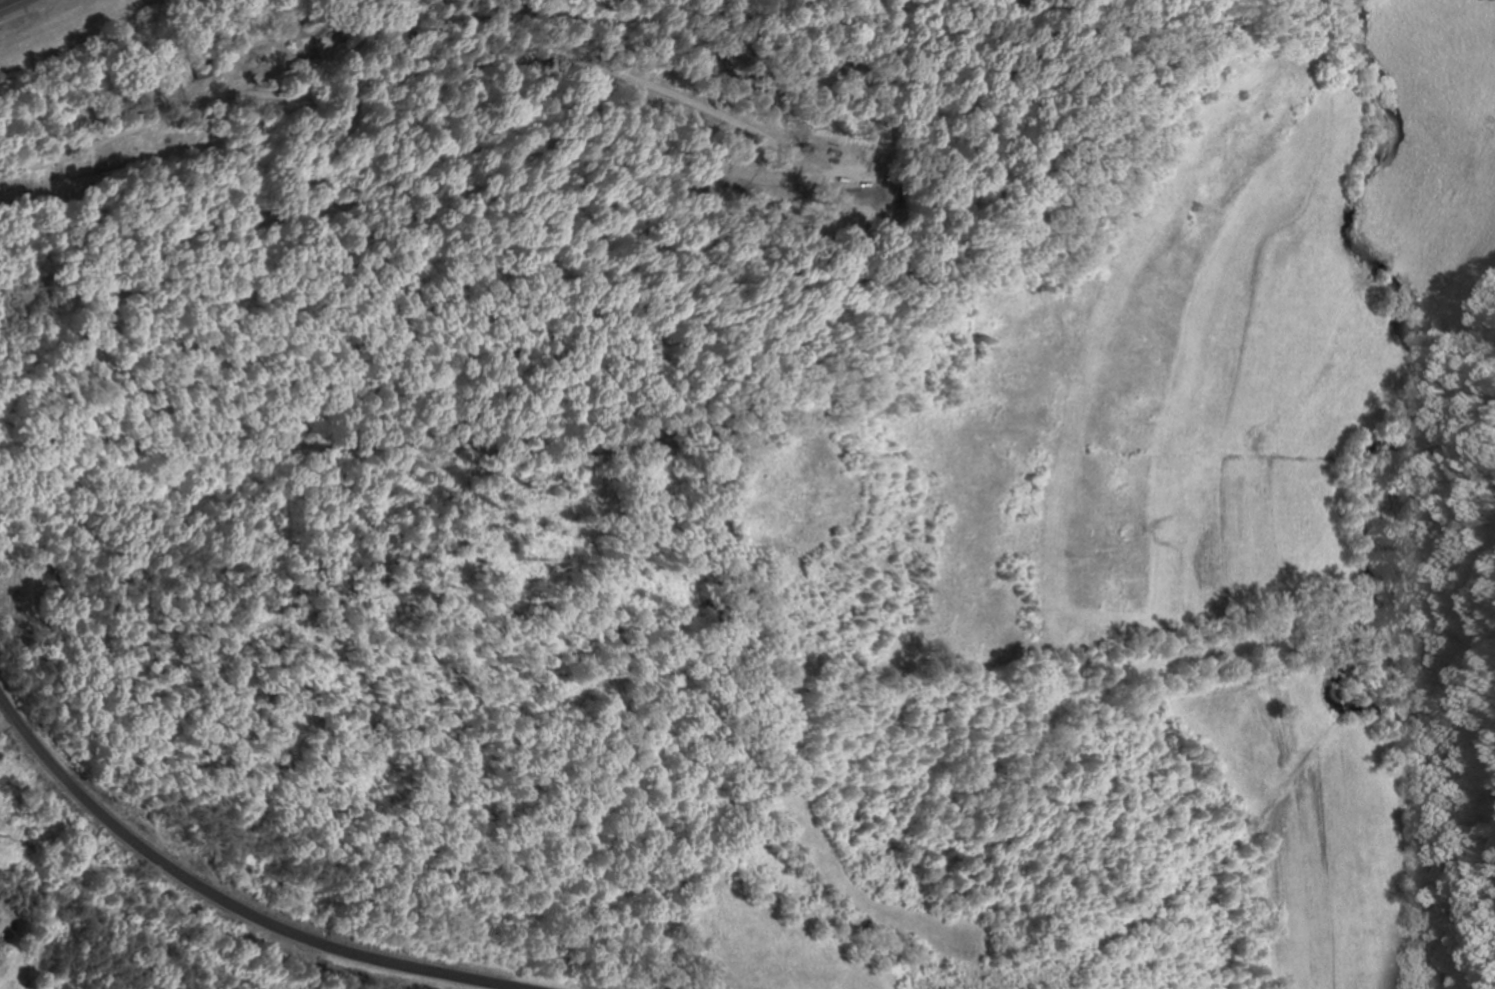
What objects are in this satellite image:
road: (13, 5)
road: (122, 102)
road: (1431, 568)
road: (4, 712)
road: (221, 901)

